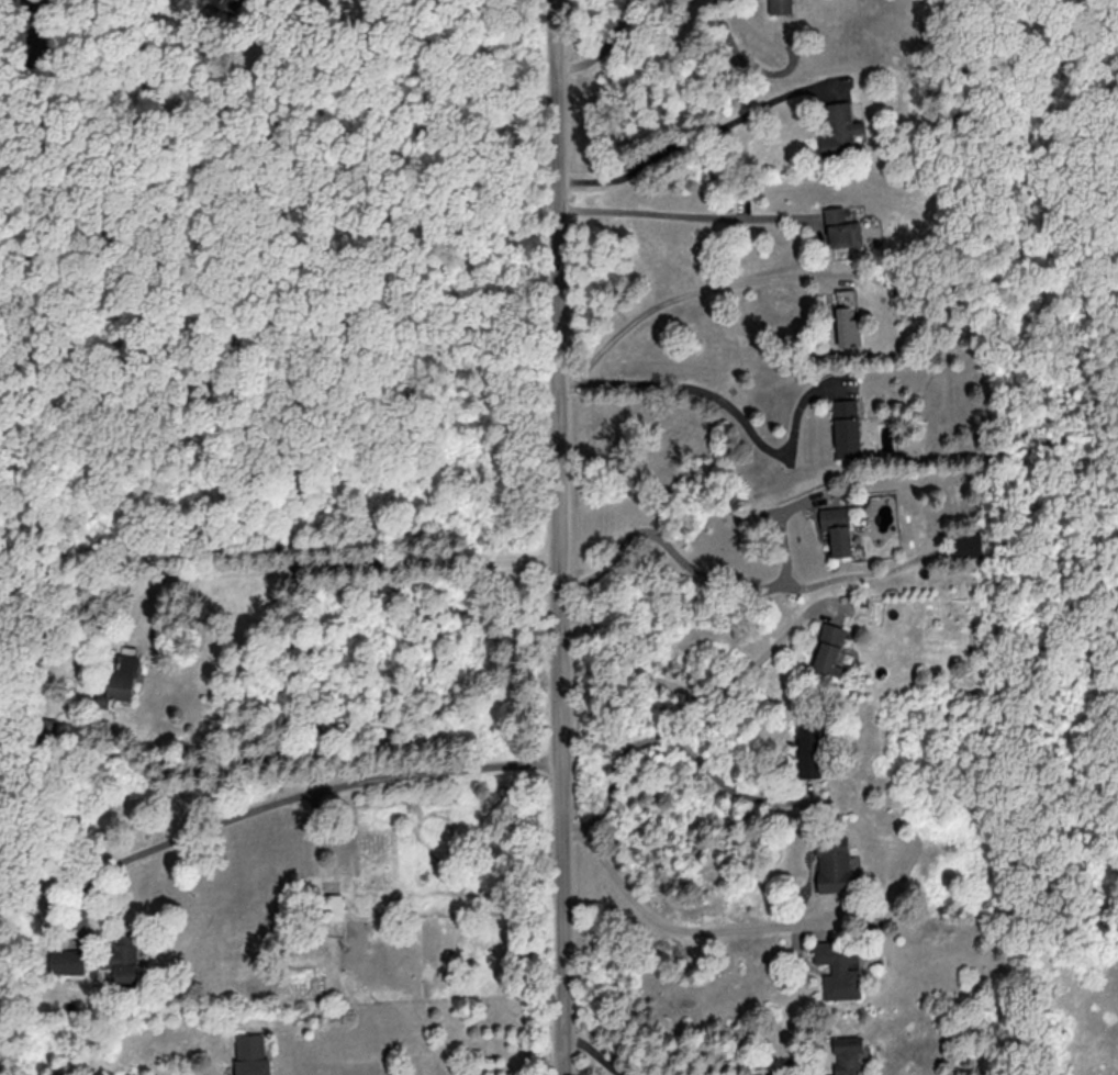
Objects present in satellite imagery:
building: (230, 4)
building: (782, 5)
road: (604, 46)
road: (314, 52)
building: (840, 128)
road: (678, 142)
road: (673, 212)
building: (842, 227)
road: (684, 295)
building: (849, 325)
road: (716, 396)
building: (847, 427)
park: (1053, 450)
building: (837, 527)
road: (562, 537)
building: (966, 546)
road: (333, 566)
road: (865, 575)
road: (717, 579)
building: (832, 649)
building: (120, 680)
road: (1058, 684)
road: (692, 686)
road: (670, 740)
building: (809, 750)
road: (294, 794)
building: (832, 862)
building: (332, 904)
road: (674, 928)
building: (122, 958)
building: (66, 959)
building: (839, 967)
road: (597, 1052)
building: (848, 1053)
building: (251, 1054)
road: (767, 1071)

